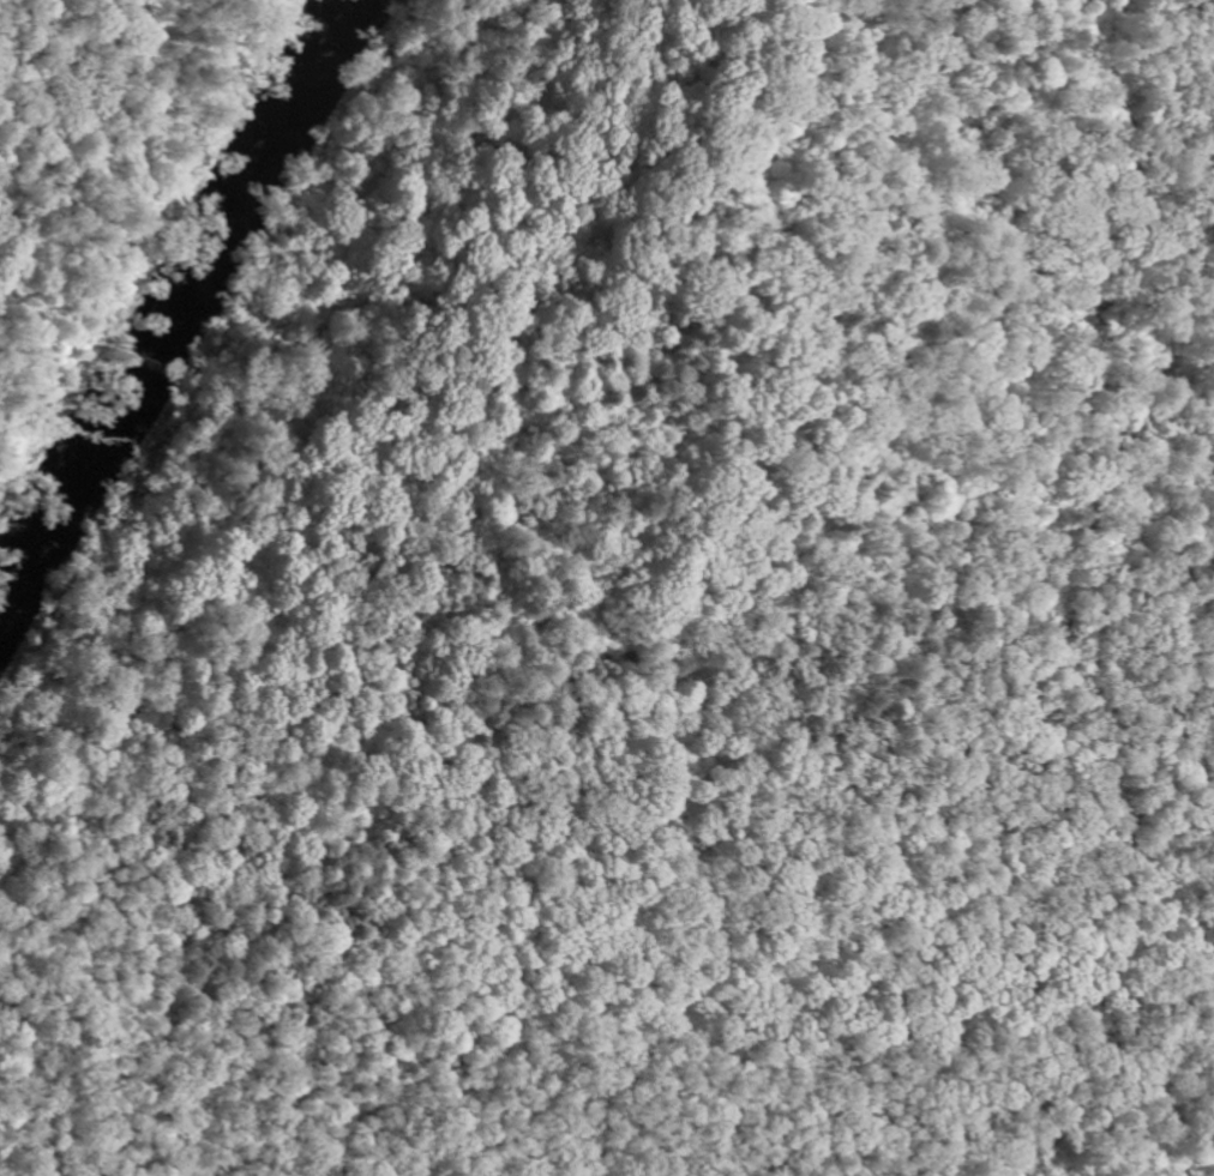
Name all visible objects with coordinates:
river: (174, 309)

